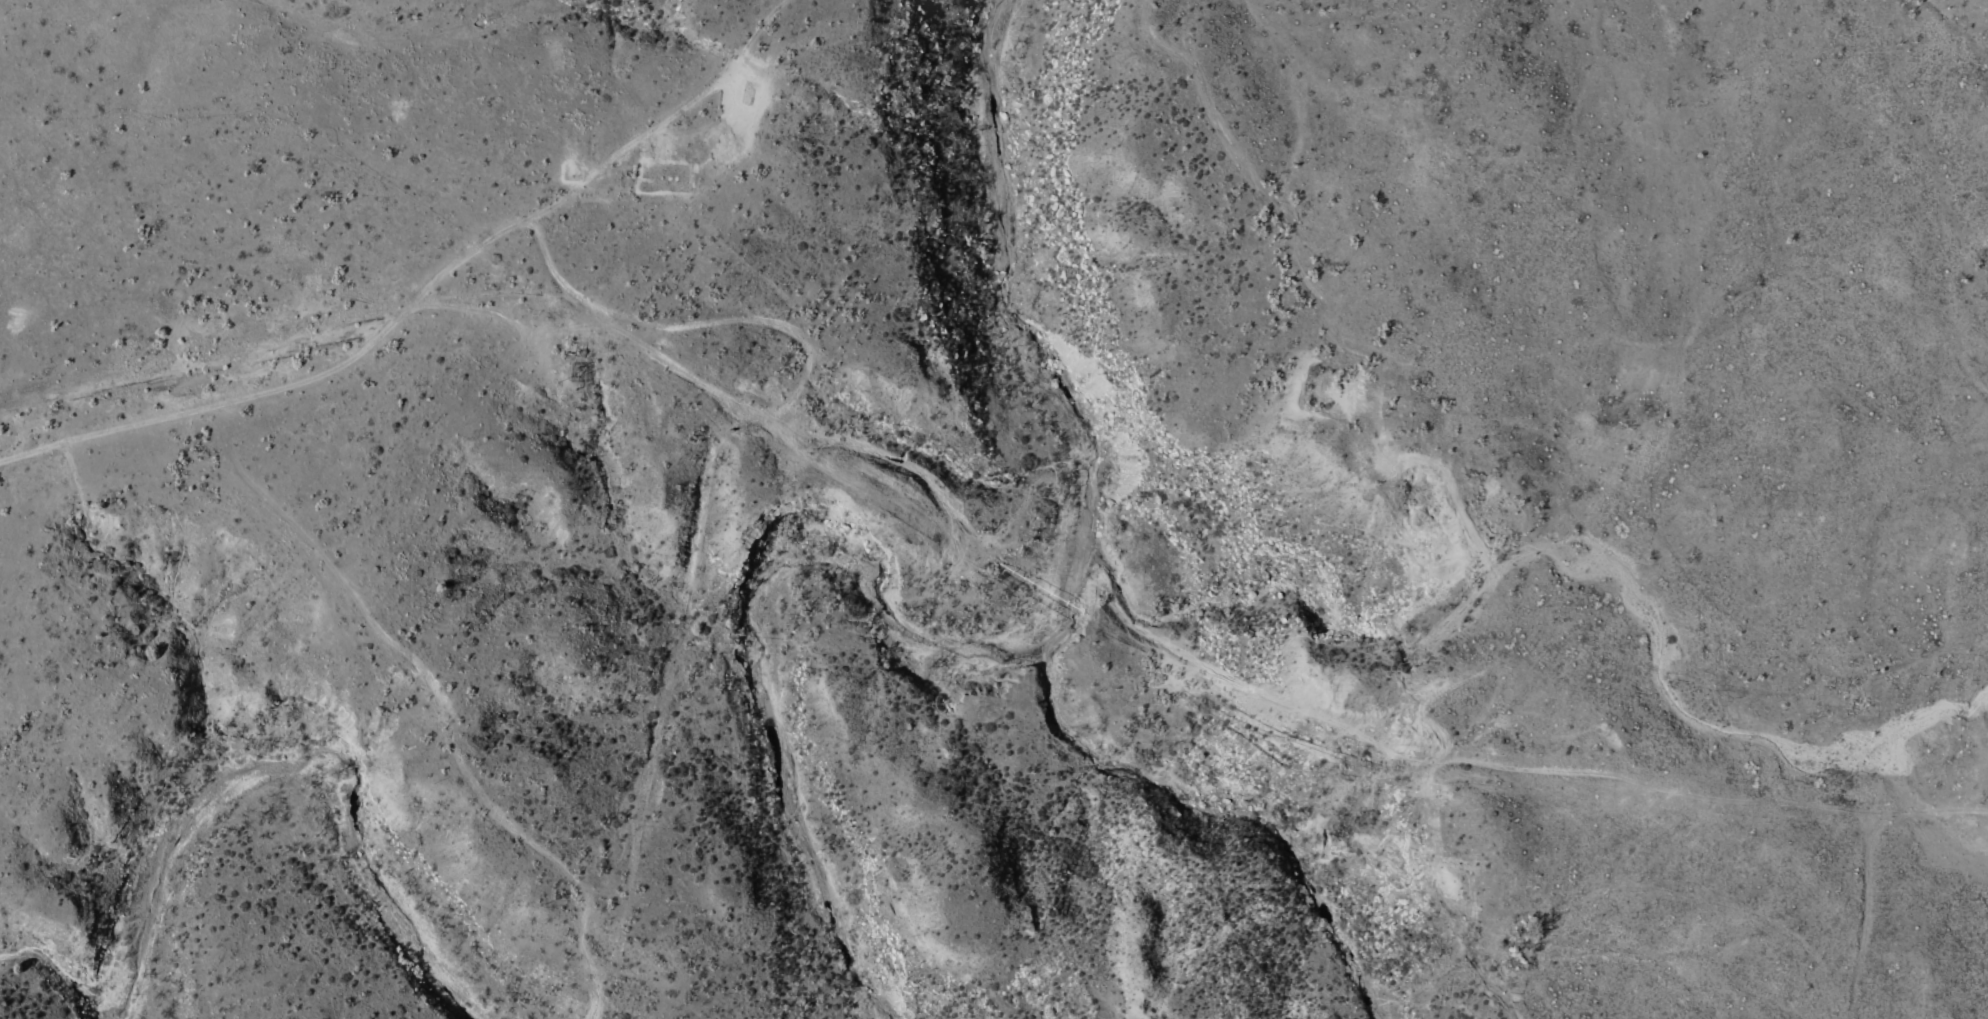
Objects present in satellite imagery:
road: (1852, 859)

